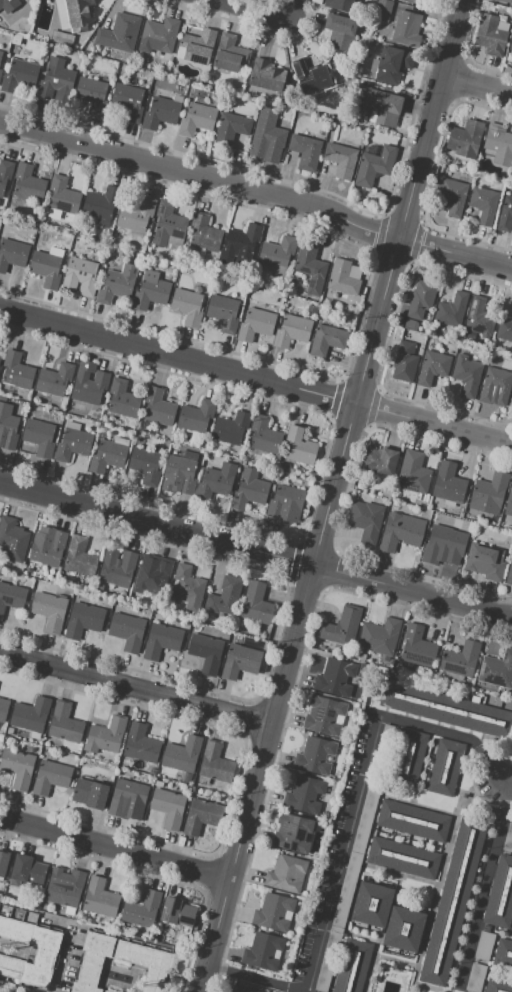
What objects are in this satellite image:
building: (509, 0)
building: (412, 1)
building: (4, 4)
building: (339, 4)
road: (253, 9)
road: (292, 9)
building: (383, 10)
building: (74, 14)
building: (407, 29)
building: (339, 31)
building: (120, 32)
building: (491, 34)
building: (159, 35)
building: (62, 37)
building: (510, 44)
building: (197, 46)
building: (229, 54)
building: (0, 57)
building: (390, 65)
building: (300, 67)
building: (0, 72)
building: (264, 75)
building: (19, 76)
building: (55, 82)
building: (140, 83)
building: (320, 83)
road: (476, 85)
building: (246, 92)
building: (91, 94)
building: (125, 103)
building: (383, 107)
building: (162, 112)
building: (196, 119)
building: (231, 127)
building: (266, 137)
building: (465, 139)
building: (498, 145)
building: (305, 150)
building: (340, 159)
building: (374, 166)
building: (5, 173)
building: (28, 183)
road: (257, 193)
building: (451, 196)
building: (62, 197)
building: (484, 204)
building: (99, 206)
building: (505, 214)
building: (135, 215)
building: (167, 224)
building: (203, 235)
building: (241, 243)
building: (13, 254)
building: (277, 257)
building: (47, 266)
building: (310, 267)
building: (182, 270)
building: (80, 277)
building: (342, 278)
building: (117, 284)
building: (152, 290)
building: (275, 300)
building: (420, 300)
building: (186, 306)
building: (452, 309)
building: (311, 310)
building: (355, 310)
building: (223, 312)
building: (353, 318)
building: (478, 318)
building: (256, 325)
building: (411, 325)
building: (504, 329)
building: (292, 331)
building: (327, 339)
building: (0, 357)
building: (404, 362)
building: (432, 363)
building: (16, 372)
building: (467, 375)
road: (255, 376)
building: (54, 380)
building: (88, 383)
building: (496, 387)
building: (511, 394)
building: (25, 396)
building: (38, 398)
building: (122, 399)
building: (155, 411)
building: (93, 415)
building: (196, 415)
building: (8, 427)
building: (231, 428)
building: (265, 435)
building: (39, 437)
building: (74, 442)
building: (299, 447)
building: (109, 455)
building: (379, 461)
building: (145, 465)
building: (283, 466)
building: (414, 474)
building: (178, 475)
building: (216, 482)
building: (448, 484)
building: (249, 490)
building: (490, 490)
building: (385, 494)
road: (330, 496)
building: (509, 500)
building: (286, 504)
building: (460, 515)
building: (366, 520)
building: (468, 524)
building: (401, 531)
building: (12, 539)
building: (443, 544)
building: (48, 549)
road: (255, 550)
building: (79, 557)
building: (485, 561)
building: (117, 566)
building: (20, 569)
building: (509, 575)
building: (152, 578)
building: (187, 585)
building: (99, 589)
building: (225, 596)
building: (11, 597)
building: (256, 604)
building: (50, 611)
building: (83, 620)
building: (342, 626)
building: (127, 631)
building: (209, 631)
building: (381, 637)
building: (237, 639)
building: (161, 641)
building: (417, 647)
building: (206, 652)
building: (460, 659)
building: (240, 661)
building: (497, 670)
building: (335, 678)
road: (135, 686)
building: (3, 708)
building: (446, 708)
building: (31, 715)
building: (324, 716)
building: (64, 723)
building: (10, 730)
building: (105, 736)
building: (141, 743)
building: (18, 745)
building: (182, 754)
building: (314, 756)
building: (408, 758)
building: (108, 760)
building: (215, 763)
building: (18, 767)
building: (444, 767)
building: (50, 777)
building: (159, 784)
road: (506, 785)
building: (202, 792)
building: (90, 794)
building: (304, 796)
building: (127, 797)
building: (169, 808)
building: (202, 816)
building: (412, 820)
road: (347, 827)
building: (293, 832)
building: (508, 839)
road: (114, 850)
building: (402, 857)
building: (3, 861)
building: (26, 870)
building: (286, 874)
road: (487, 880)
building: (65, 887)
building: (500, 892)
building: (100, 898)
building: (453, 900)
building: (372, 905)
building: (141, 909)
building: (177, 912)
building: (275, 912)
building: (404, 929)
building: (484, 946)
building: (47, 950)
building: (503, 951)
building: (263, 952)
building: (92, 961)
building: (352, 966)
building: (475, 977)
building: (498, 985)
building: (240, 989)

